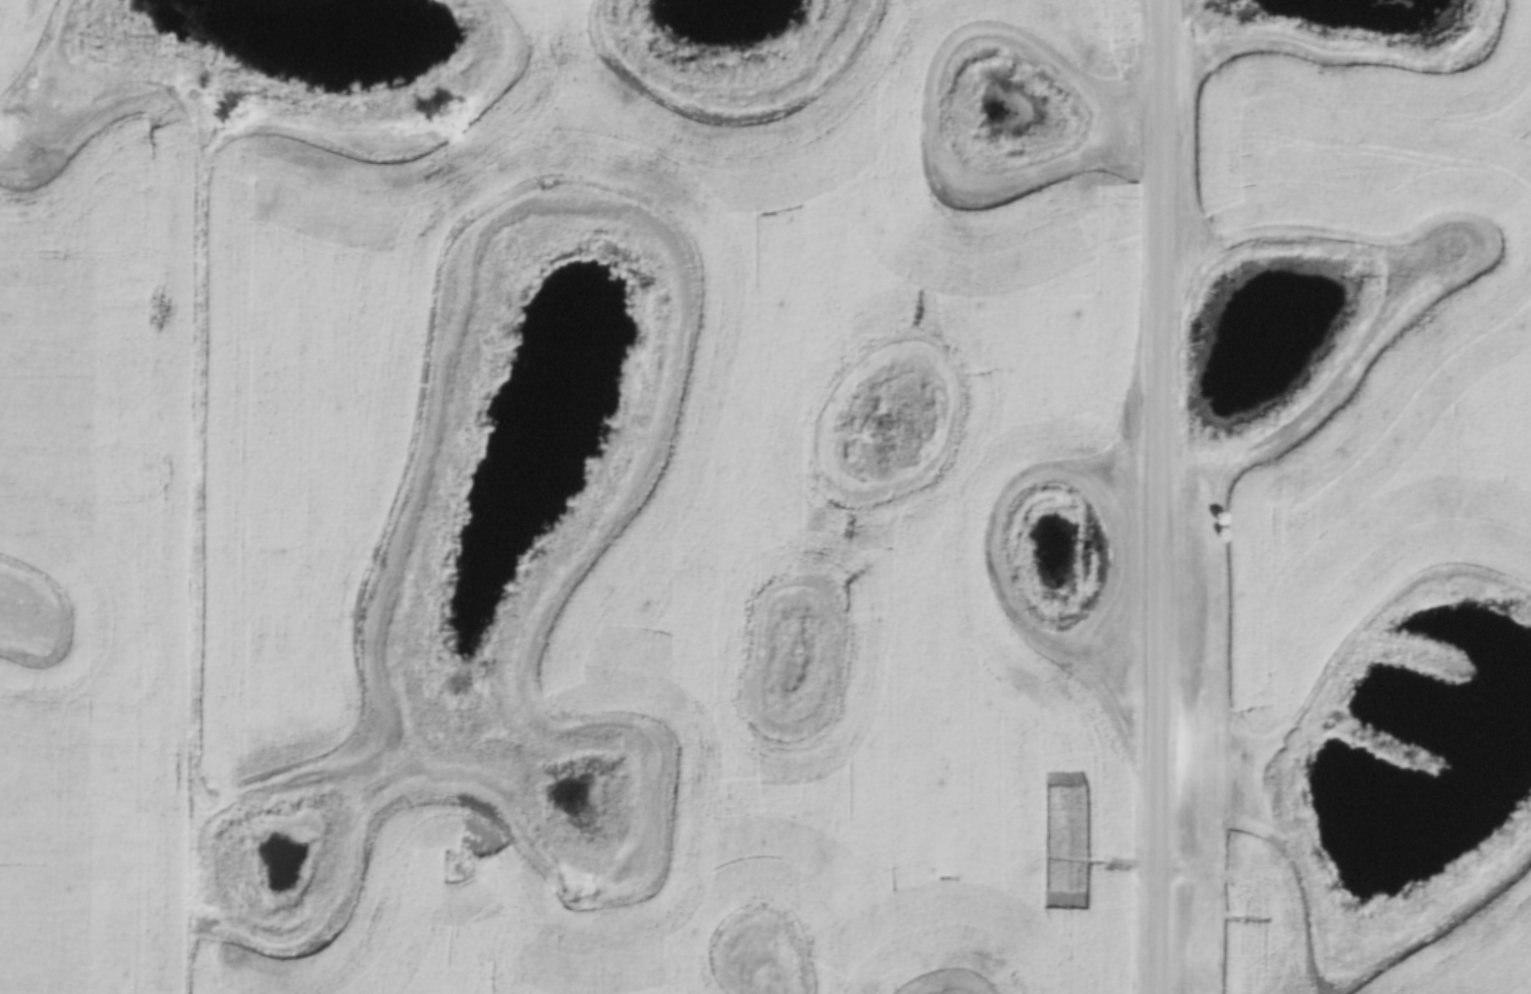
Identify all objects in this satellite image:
road: (1168, 496)

